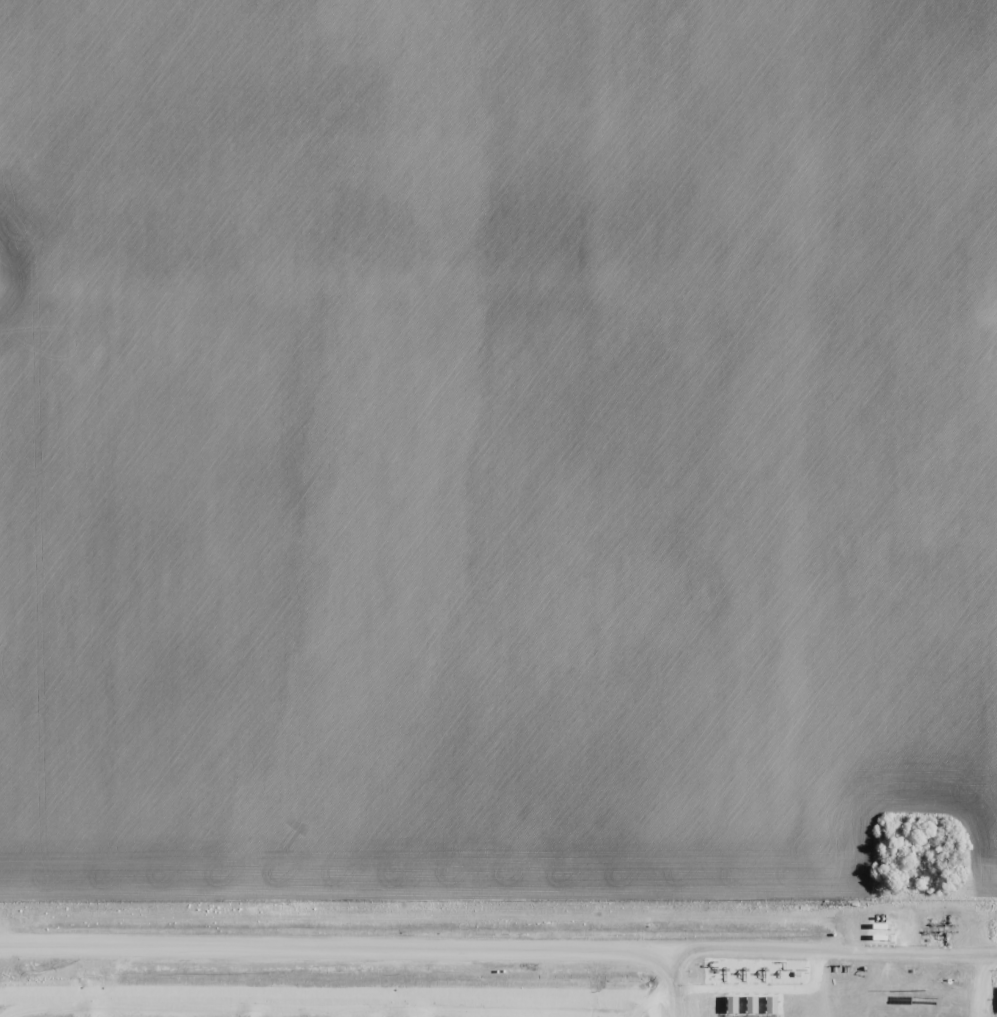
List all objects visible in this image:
crop: (498, 508)

